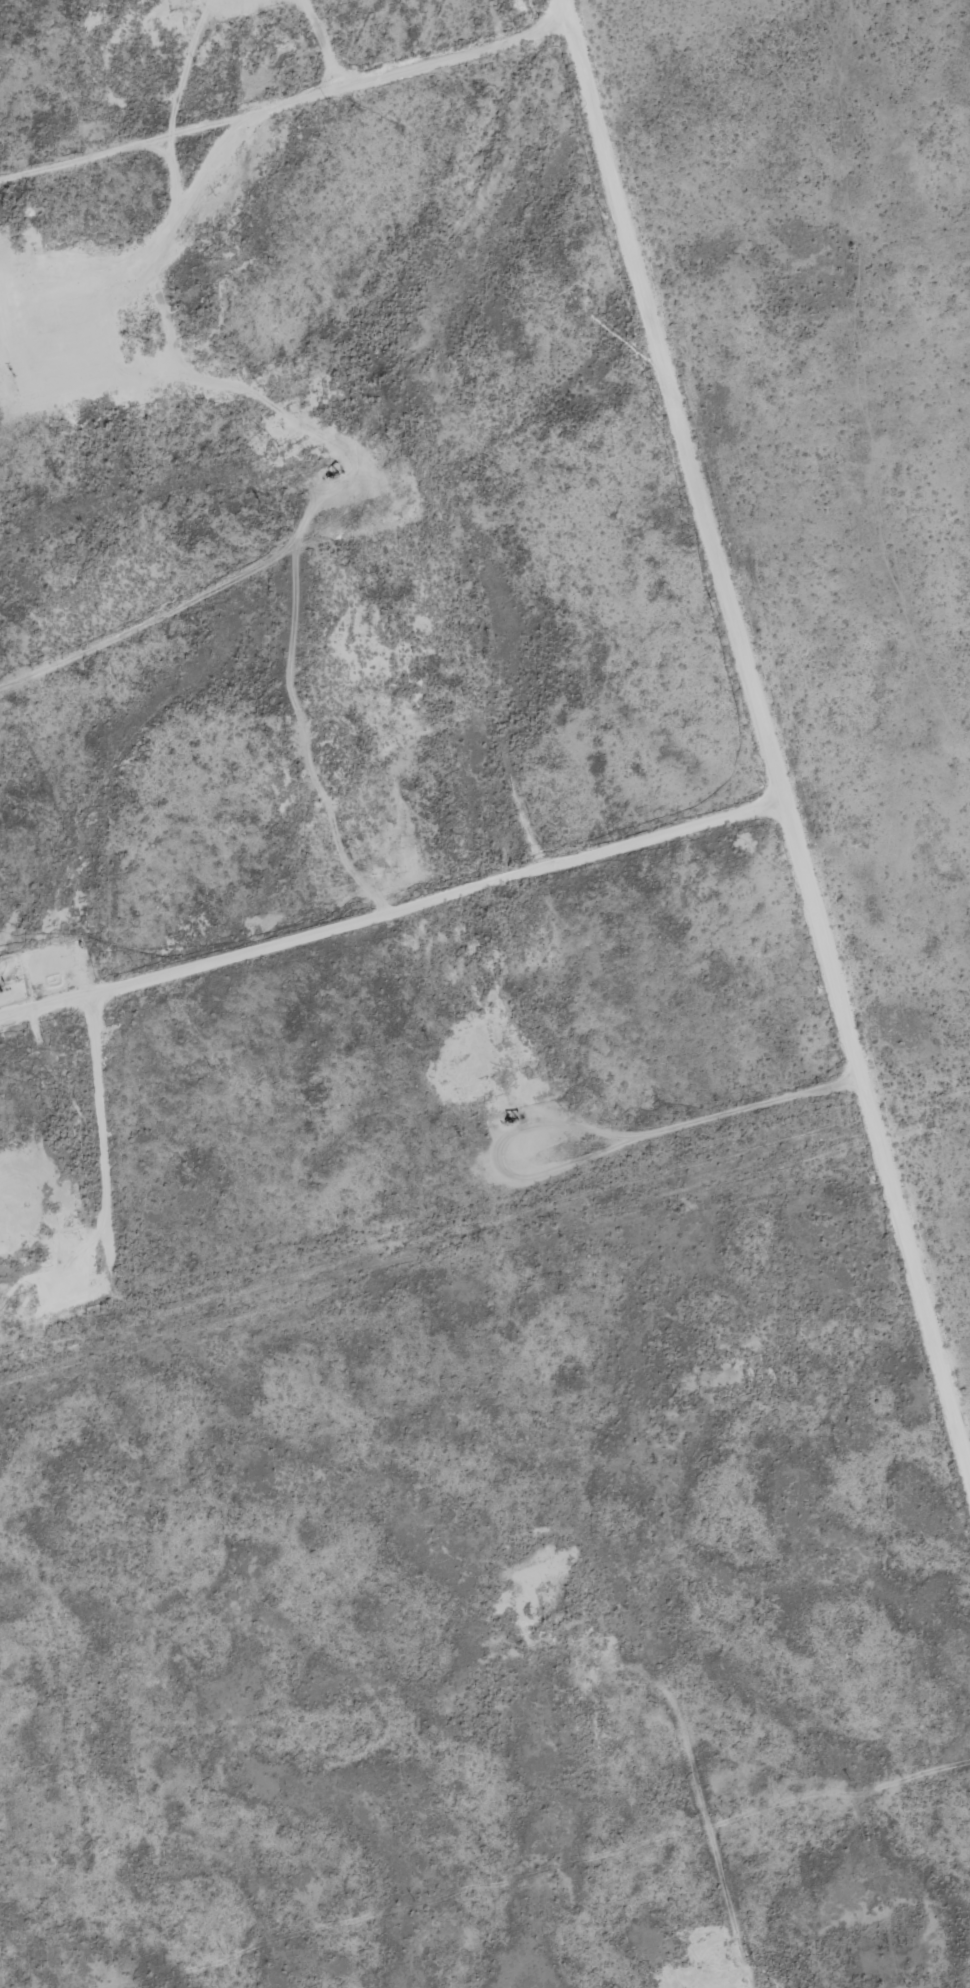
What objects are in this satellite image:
road: (258, 145)
road: (714, 783)
road: (369, 978)
road: (692, 1847)

